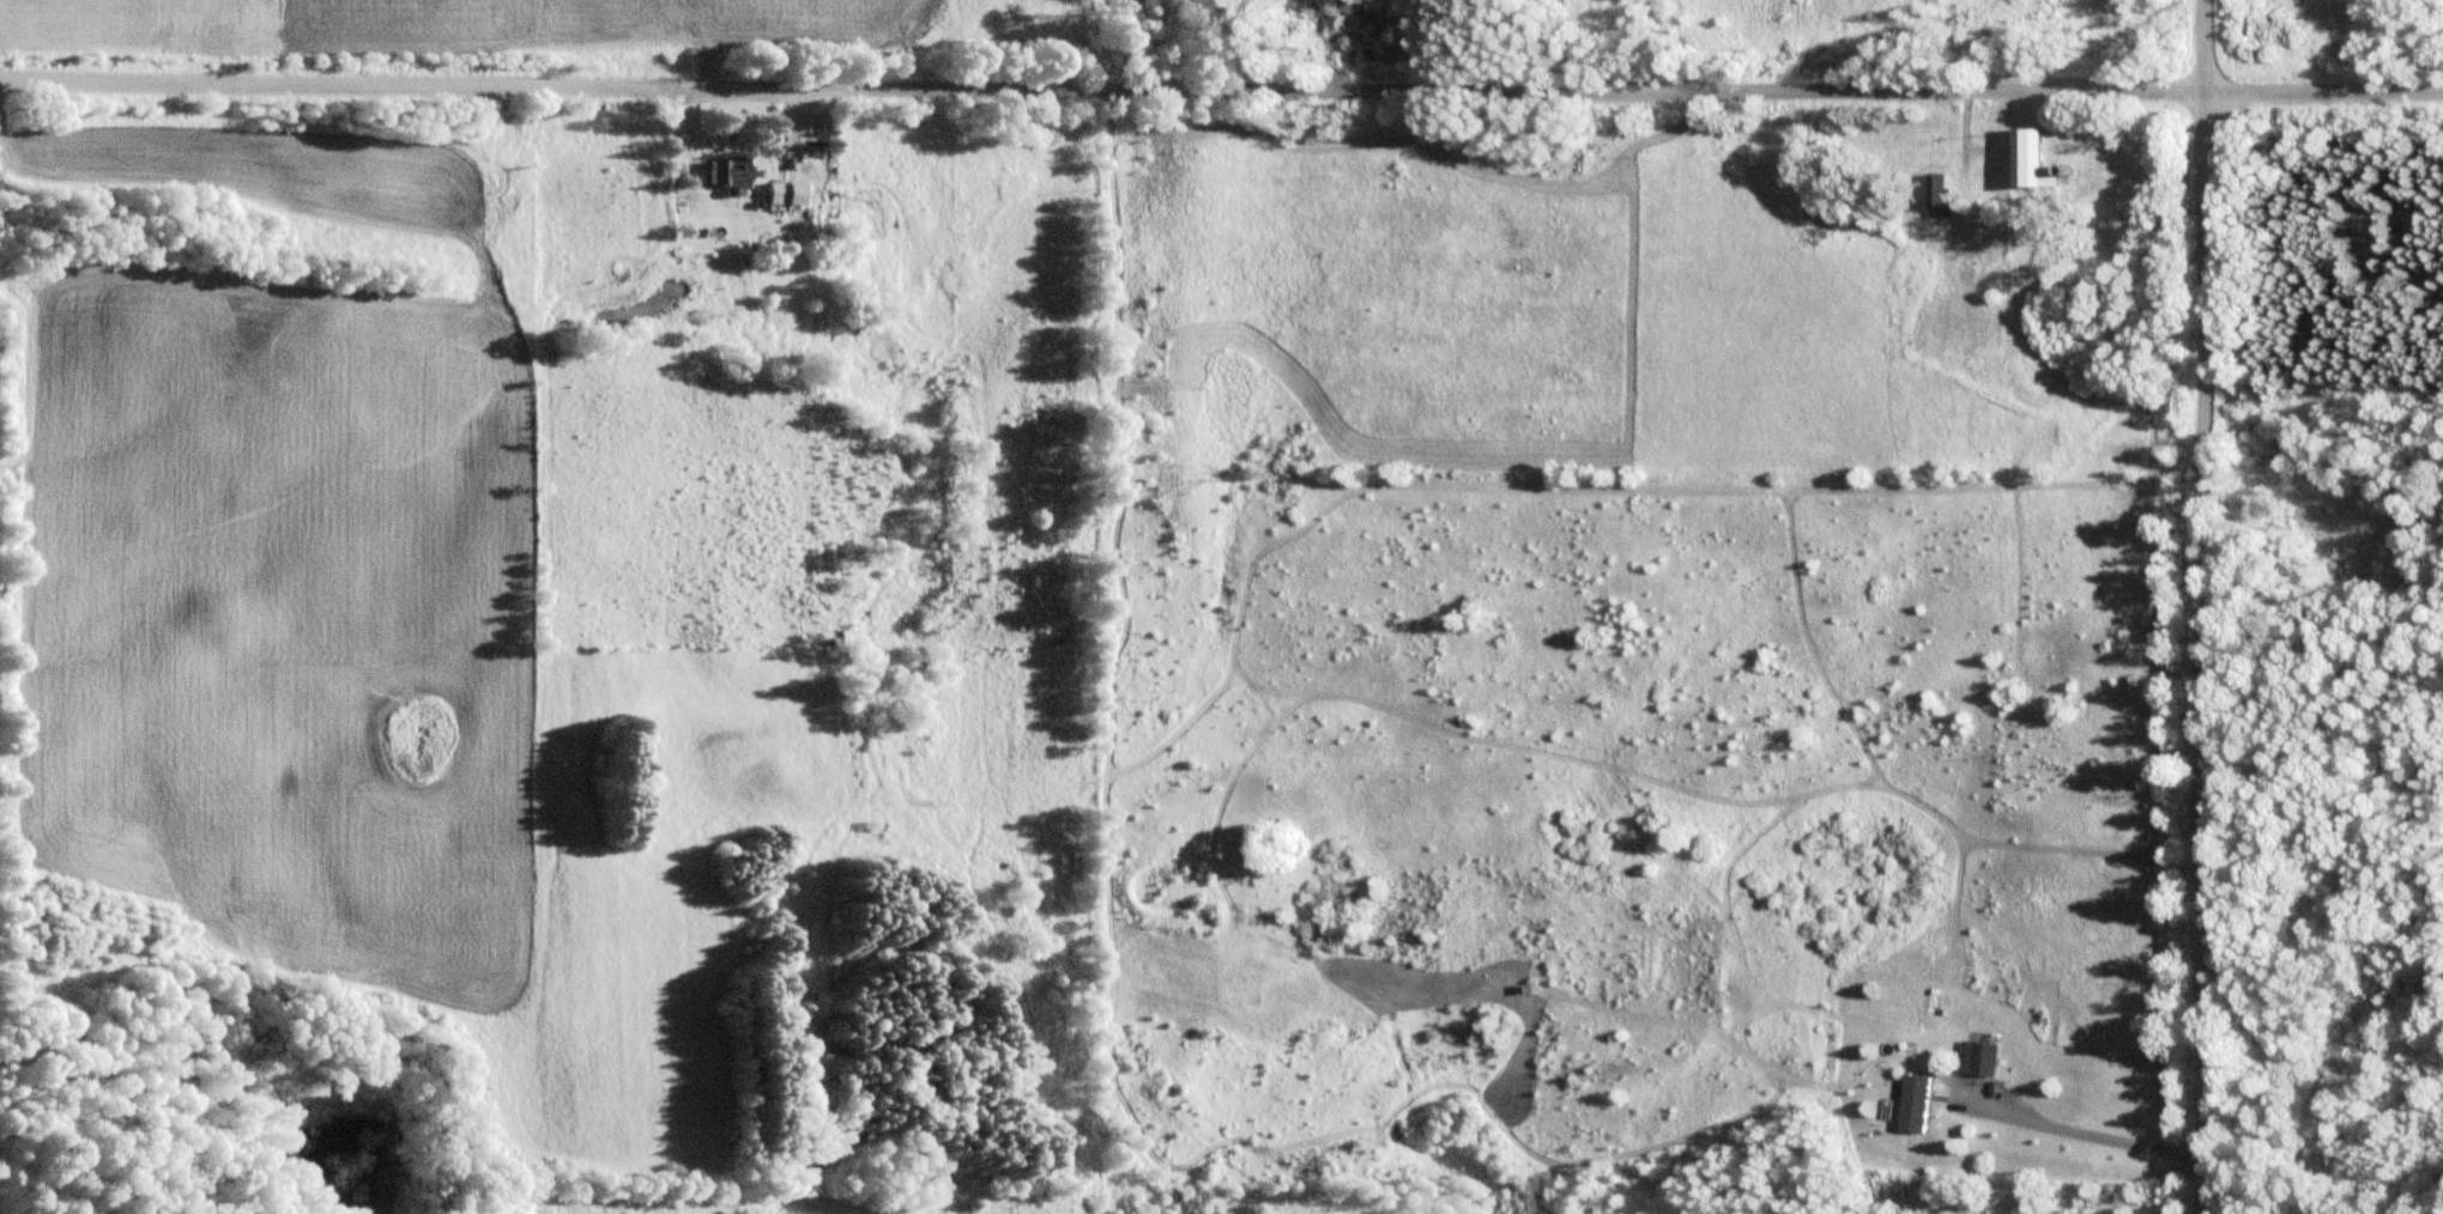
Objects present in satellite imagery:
road: (1221, 86)
building: (2039, 159)
building: (734, 172)
building: (792, 195)
building: (1946, 196)
building: (1837, 216)
road: (2203, 606)
building: (1989, 1058)
building: (1921, 1103)

